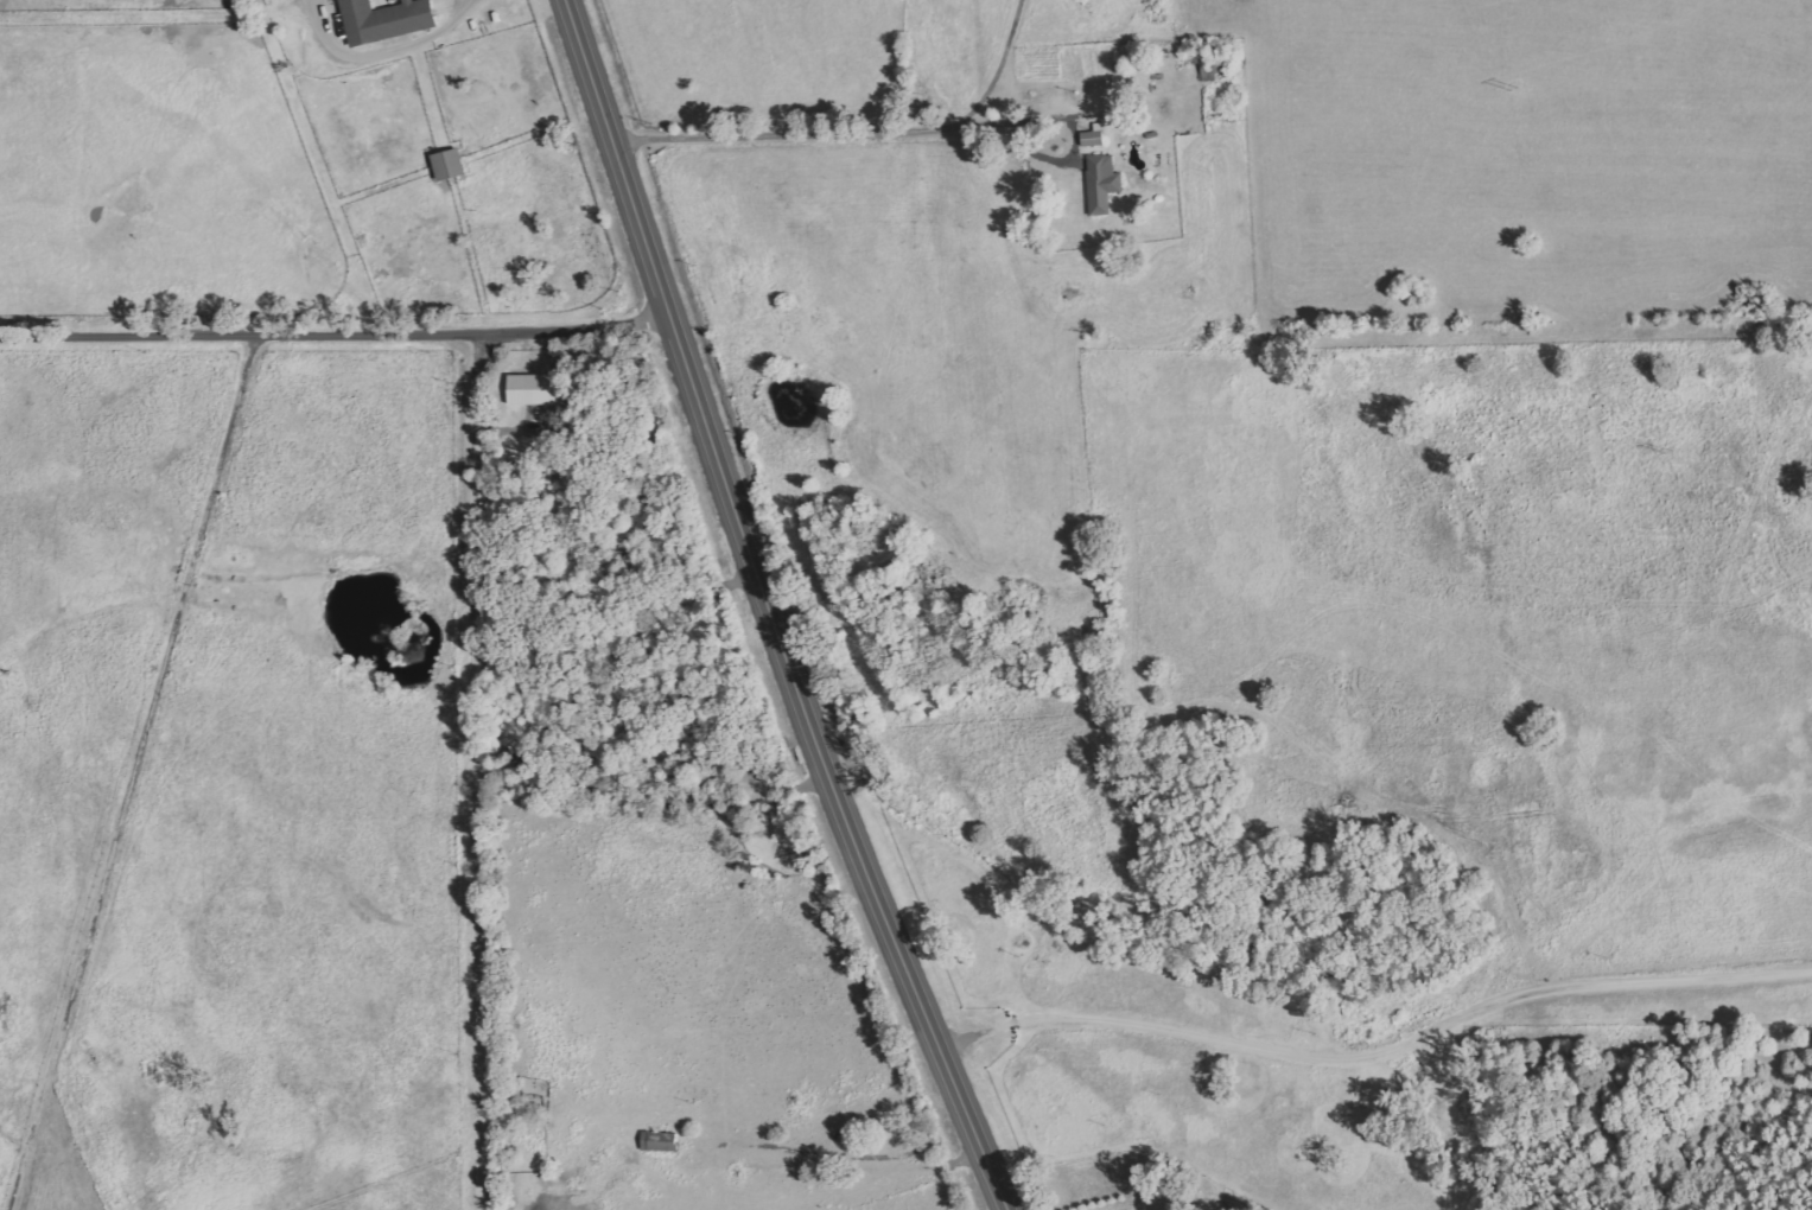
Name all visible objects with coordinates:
building: (383, 18)
road: (813, 107)
building: (1092, 135)
building: (446, 163)
building: (1101, 183)
road: (339, 330)
building: (535, 388)
road: (750, 529)
road: (456, 769)
road: (1093, 1115)
road: (984, 1129)
building: (659, 1141)

